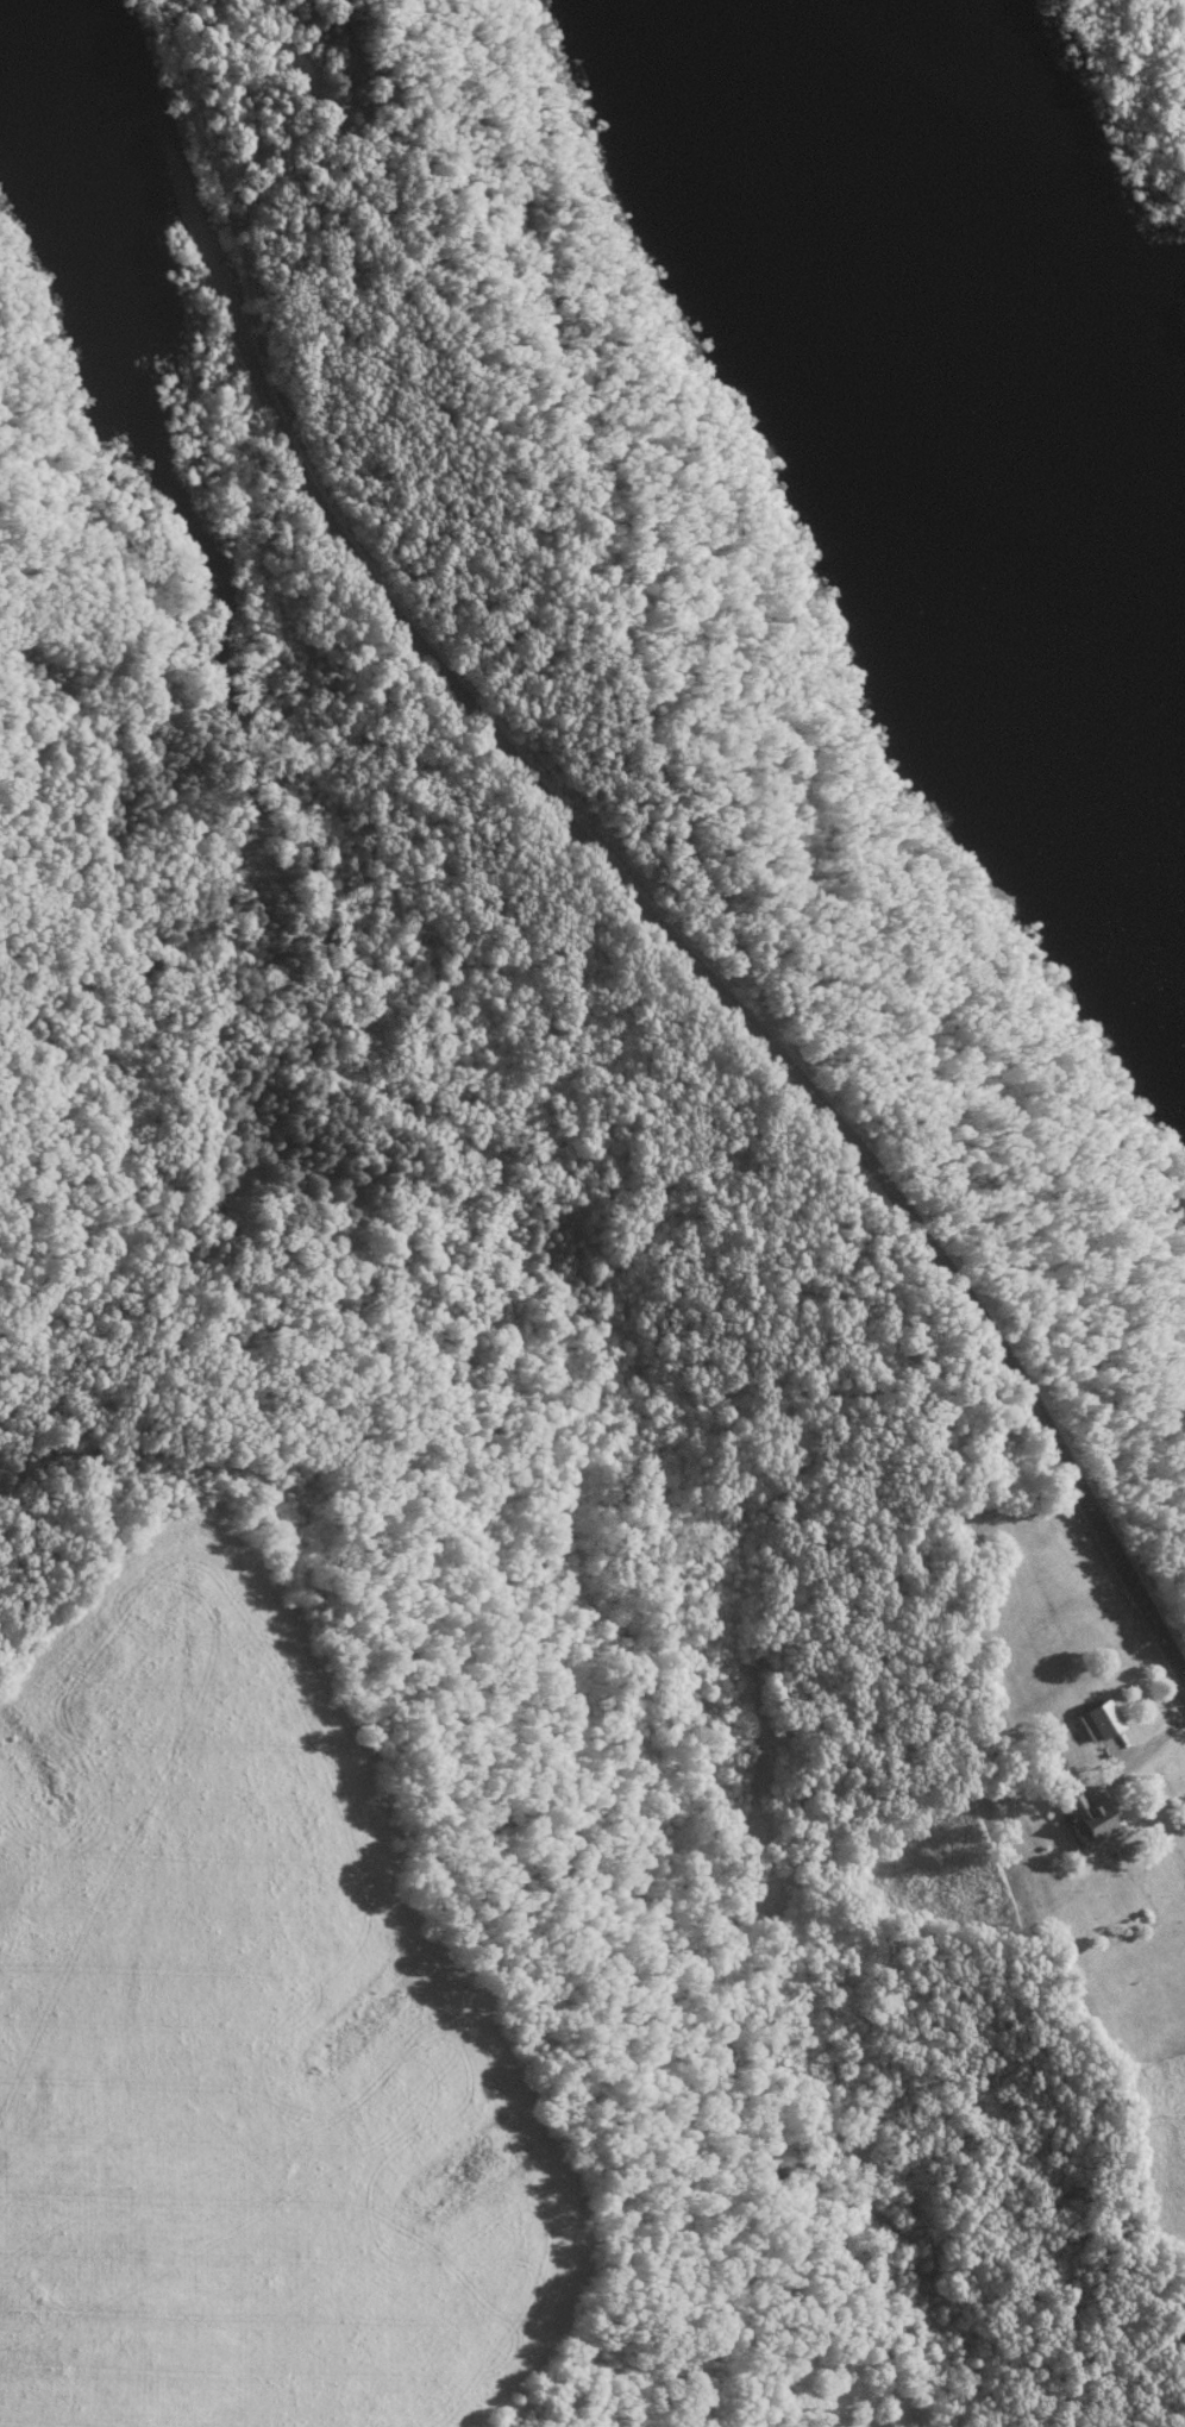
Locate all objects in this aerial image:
river: (983, 393)
road: (619, 880)
building: (1099, 1718)
road: (1141, 1738)
building: (1089, 1819)

